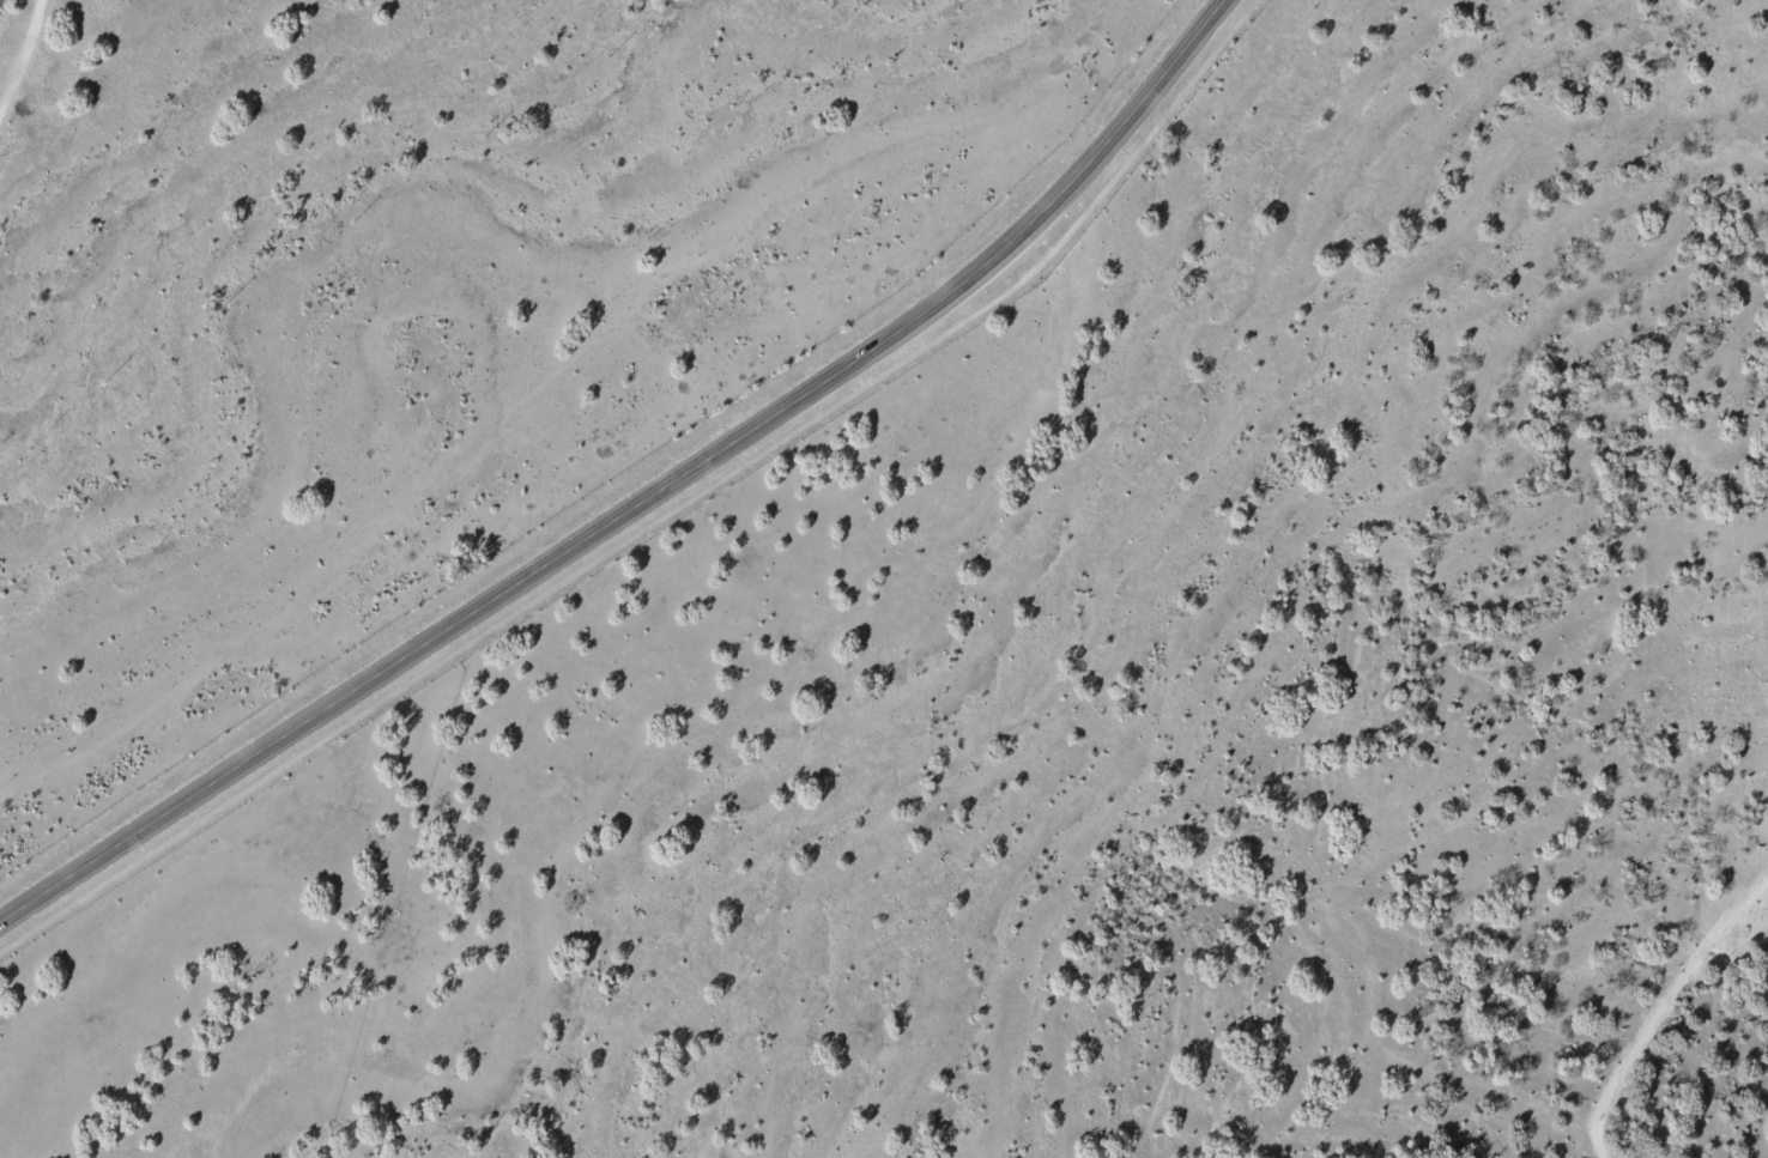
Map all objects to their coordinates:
road: (650, 502)
road: (1661, 1012)

